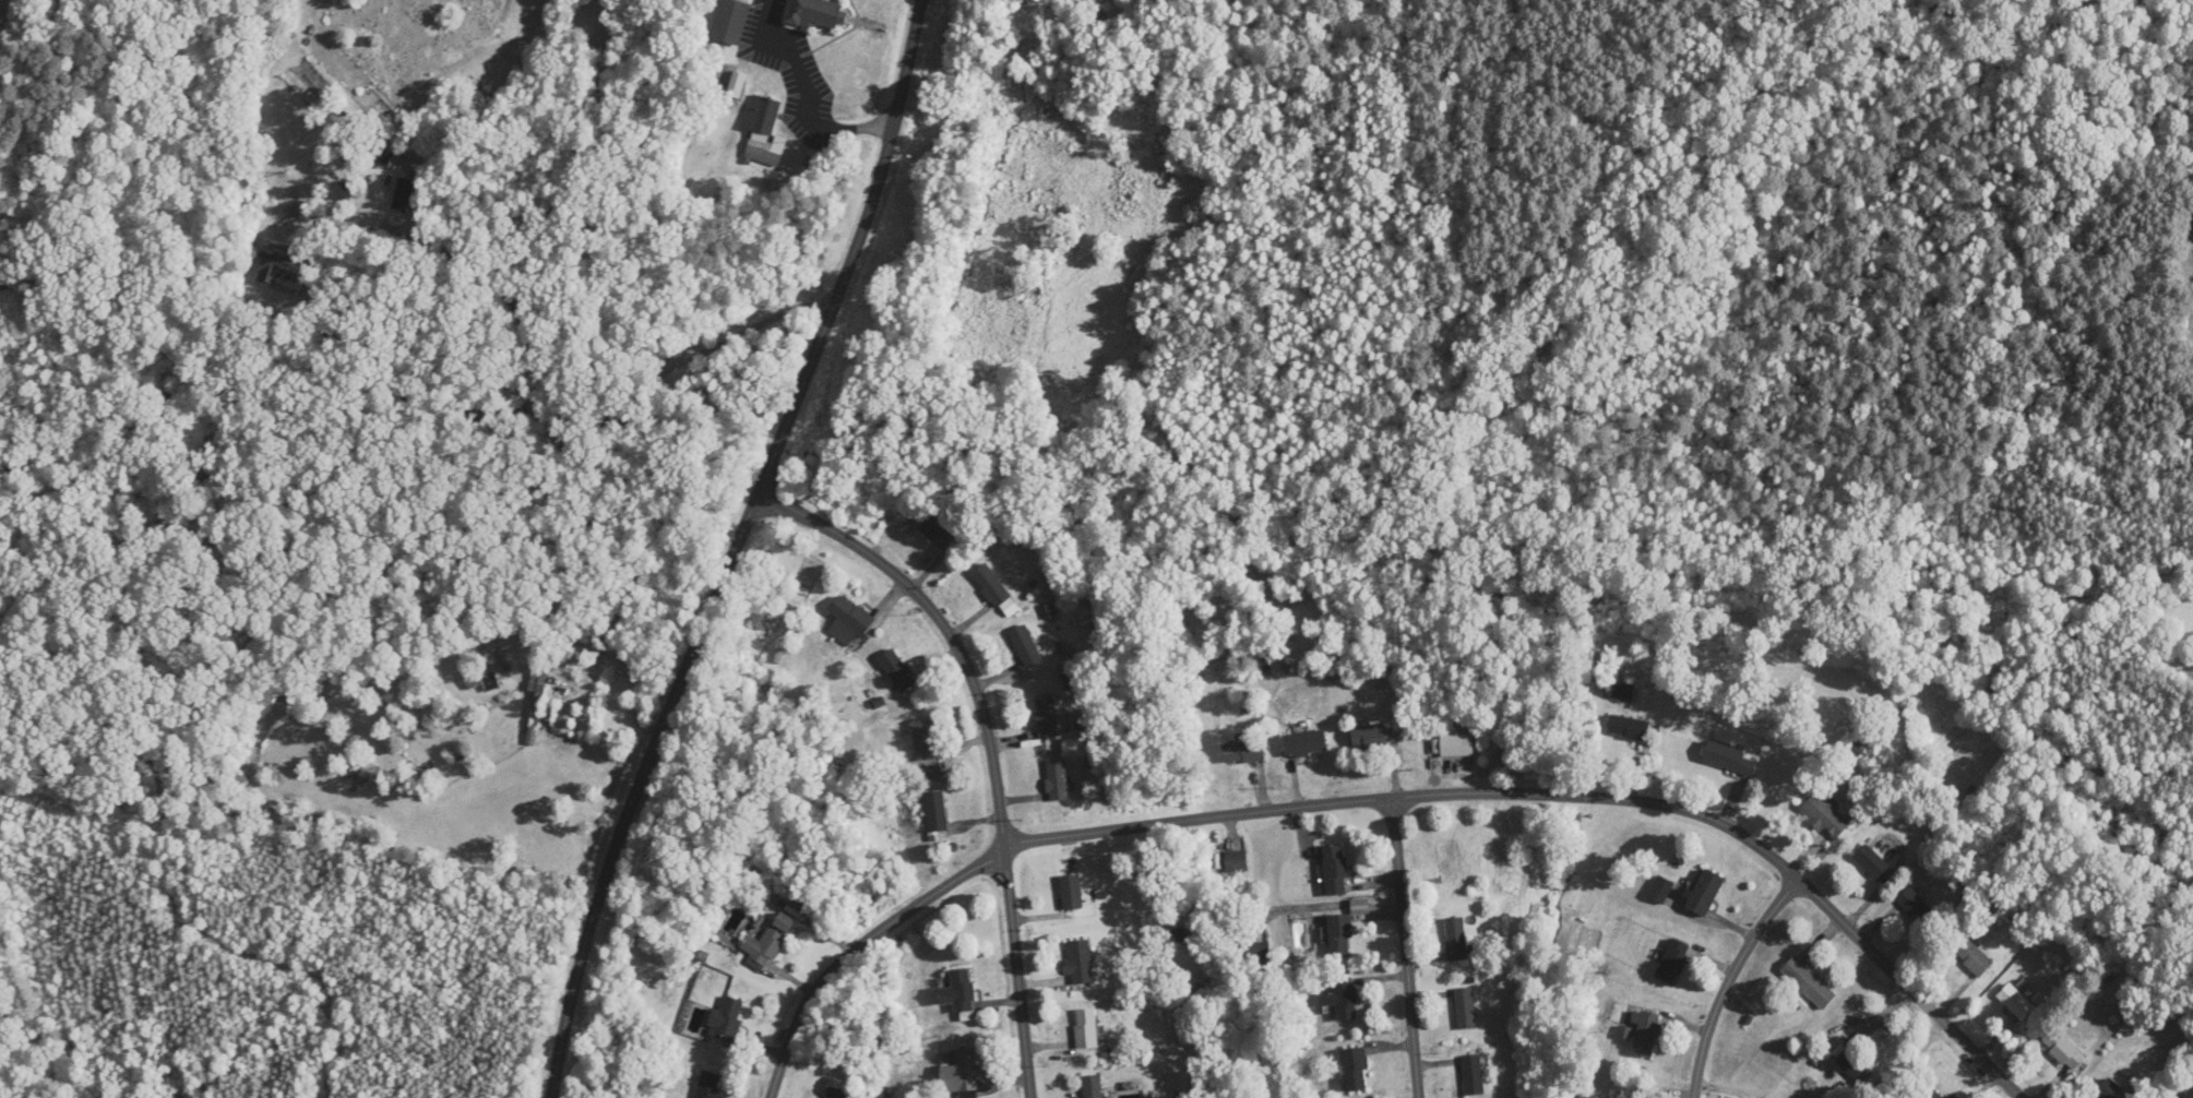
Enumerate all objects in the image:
building: (817, 12)
building: (731, 21)
road: (811, 94)
building: (763, 115)
building: (766, 150)
road: (463, 266)
building: (281, 271)
road: (664, 374)
road: (538, 410)
building: (937, 532)
road: (737, 549)
building: (990, 585)
building: (848, 621)
building: (1025, 645)
road: (597, 647)
building: (897, 670)
building: (481, 679)
building: (1623, 692)
building: (1047, 716)
building: (564, 718)
building: (1628, 727)
building: (1373, 735)
building: (923, 739)
building: (1306, 743)
road: (991, 744)
building: (1456, 745)
building: (1244, 749)
building: (1730, 759)
building: (1057, 780)
road: (1390, 801)
building: (935, 811)
building: (1826, 815)
building: (1236, 861)
building: (1871, 861)
building: (1336, 870)
building: (1661, 890)
building: (1071, 893)
building: (1705, 893)
building: (1916, 906)
building: (1340, 935)
building: (768, 940)
building: (1455, 940)
road: (1408, 948)
building: (1258, 954)
building: (1972, 956)
building: (1080, 962)
building: (1673, 962)
road: (1732, 982)
building: (1809, 982)
building: (958, 991)
building: (1343, 999)
building: (2016, 1002)
building: (1465, 1007)
building: (726, 1018)
building: (1086, 1028)
building: (1647, 1034)
building: (1739, 1045)
building: (1583, 1048)
building: (2063, 1049)
building: (1355, 1070)
building: (961, 1073)
building: (1471, 1075)
building: (707, 1085)
building: (1093, 1086)
building: (2111, 1090)
building: (835, 1093)
building: (1934, 1095)

